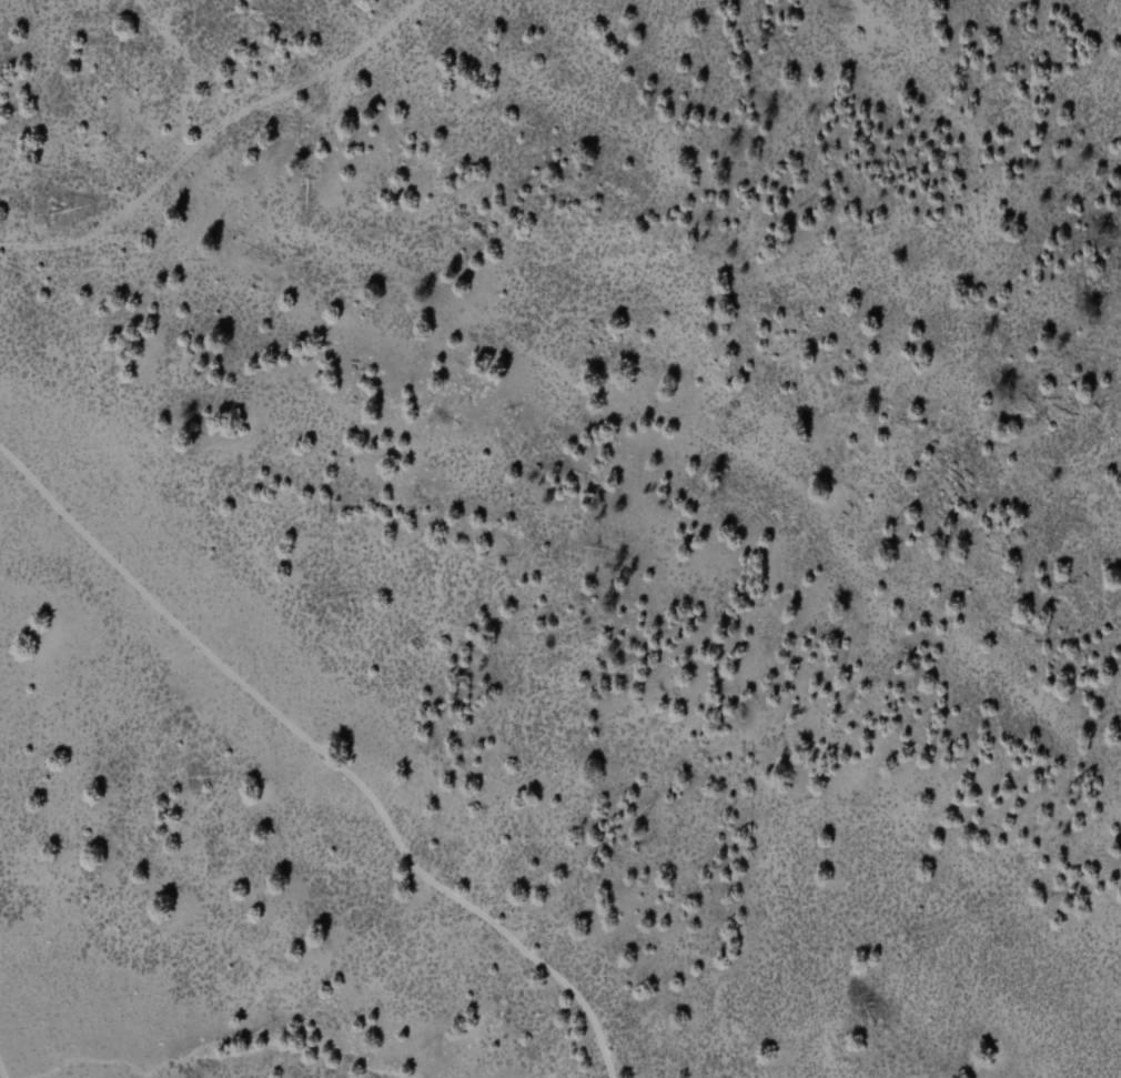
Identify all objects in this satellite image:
road: (259, 111)
road: (574, 316)
road: (322, 755)
road: (1, 1072)

